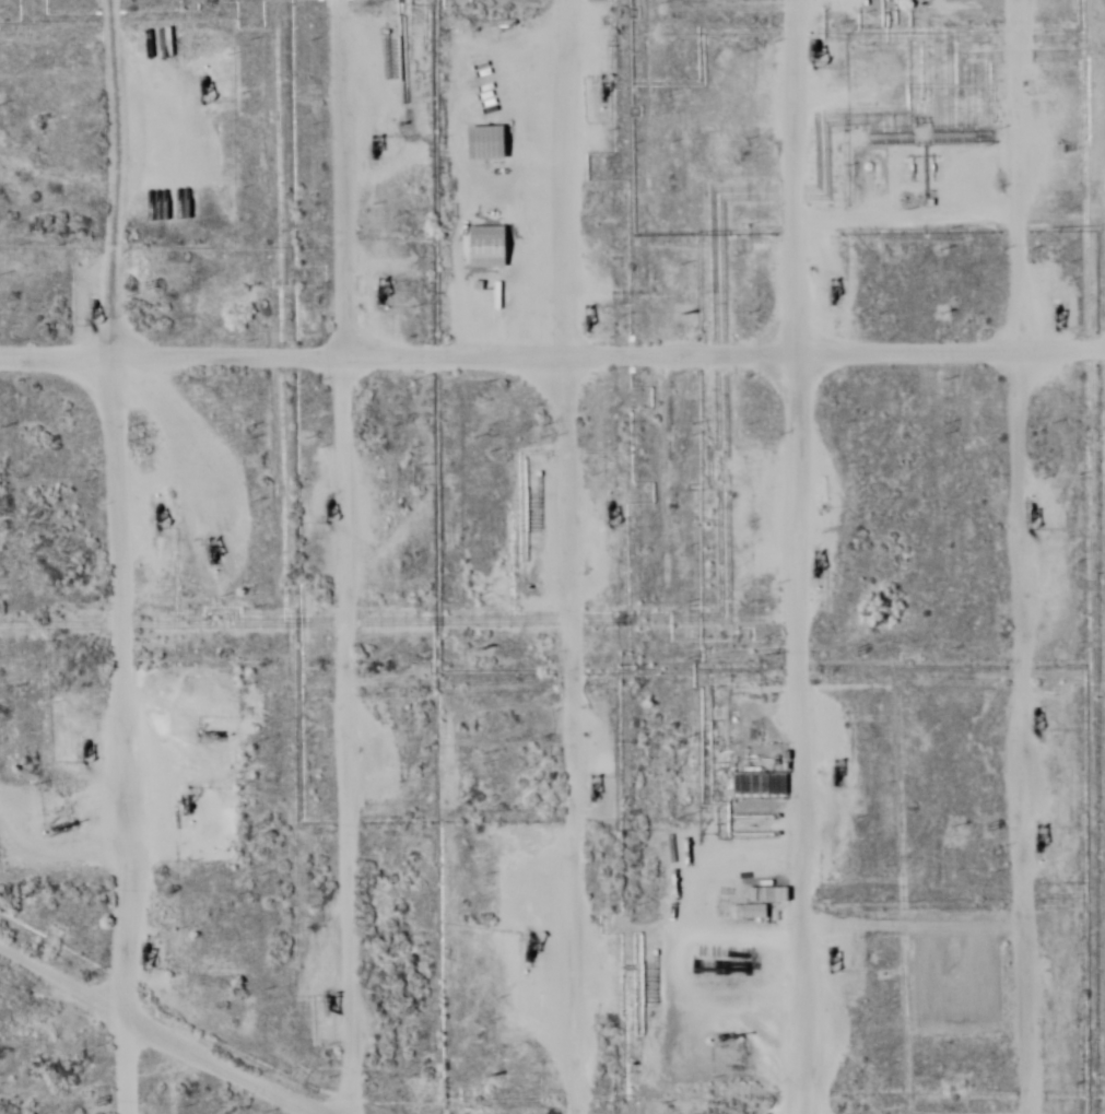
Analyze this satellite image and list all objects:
building: (485, 143)
building: (486, 248)
road: (550, 406)
road: (533, 556)
road: (799, 556)
road: (975, 556)
road: (52, 558)
road: (309, 558)
building: (748, 913)
helipad: (775, 970)
road: (89, 1066)

